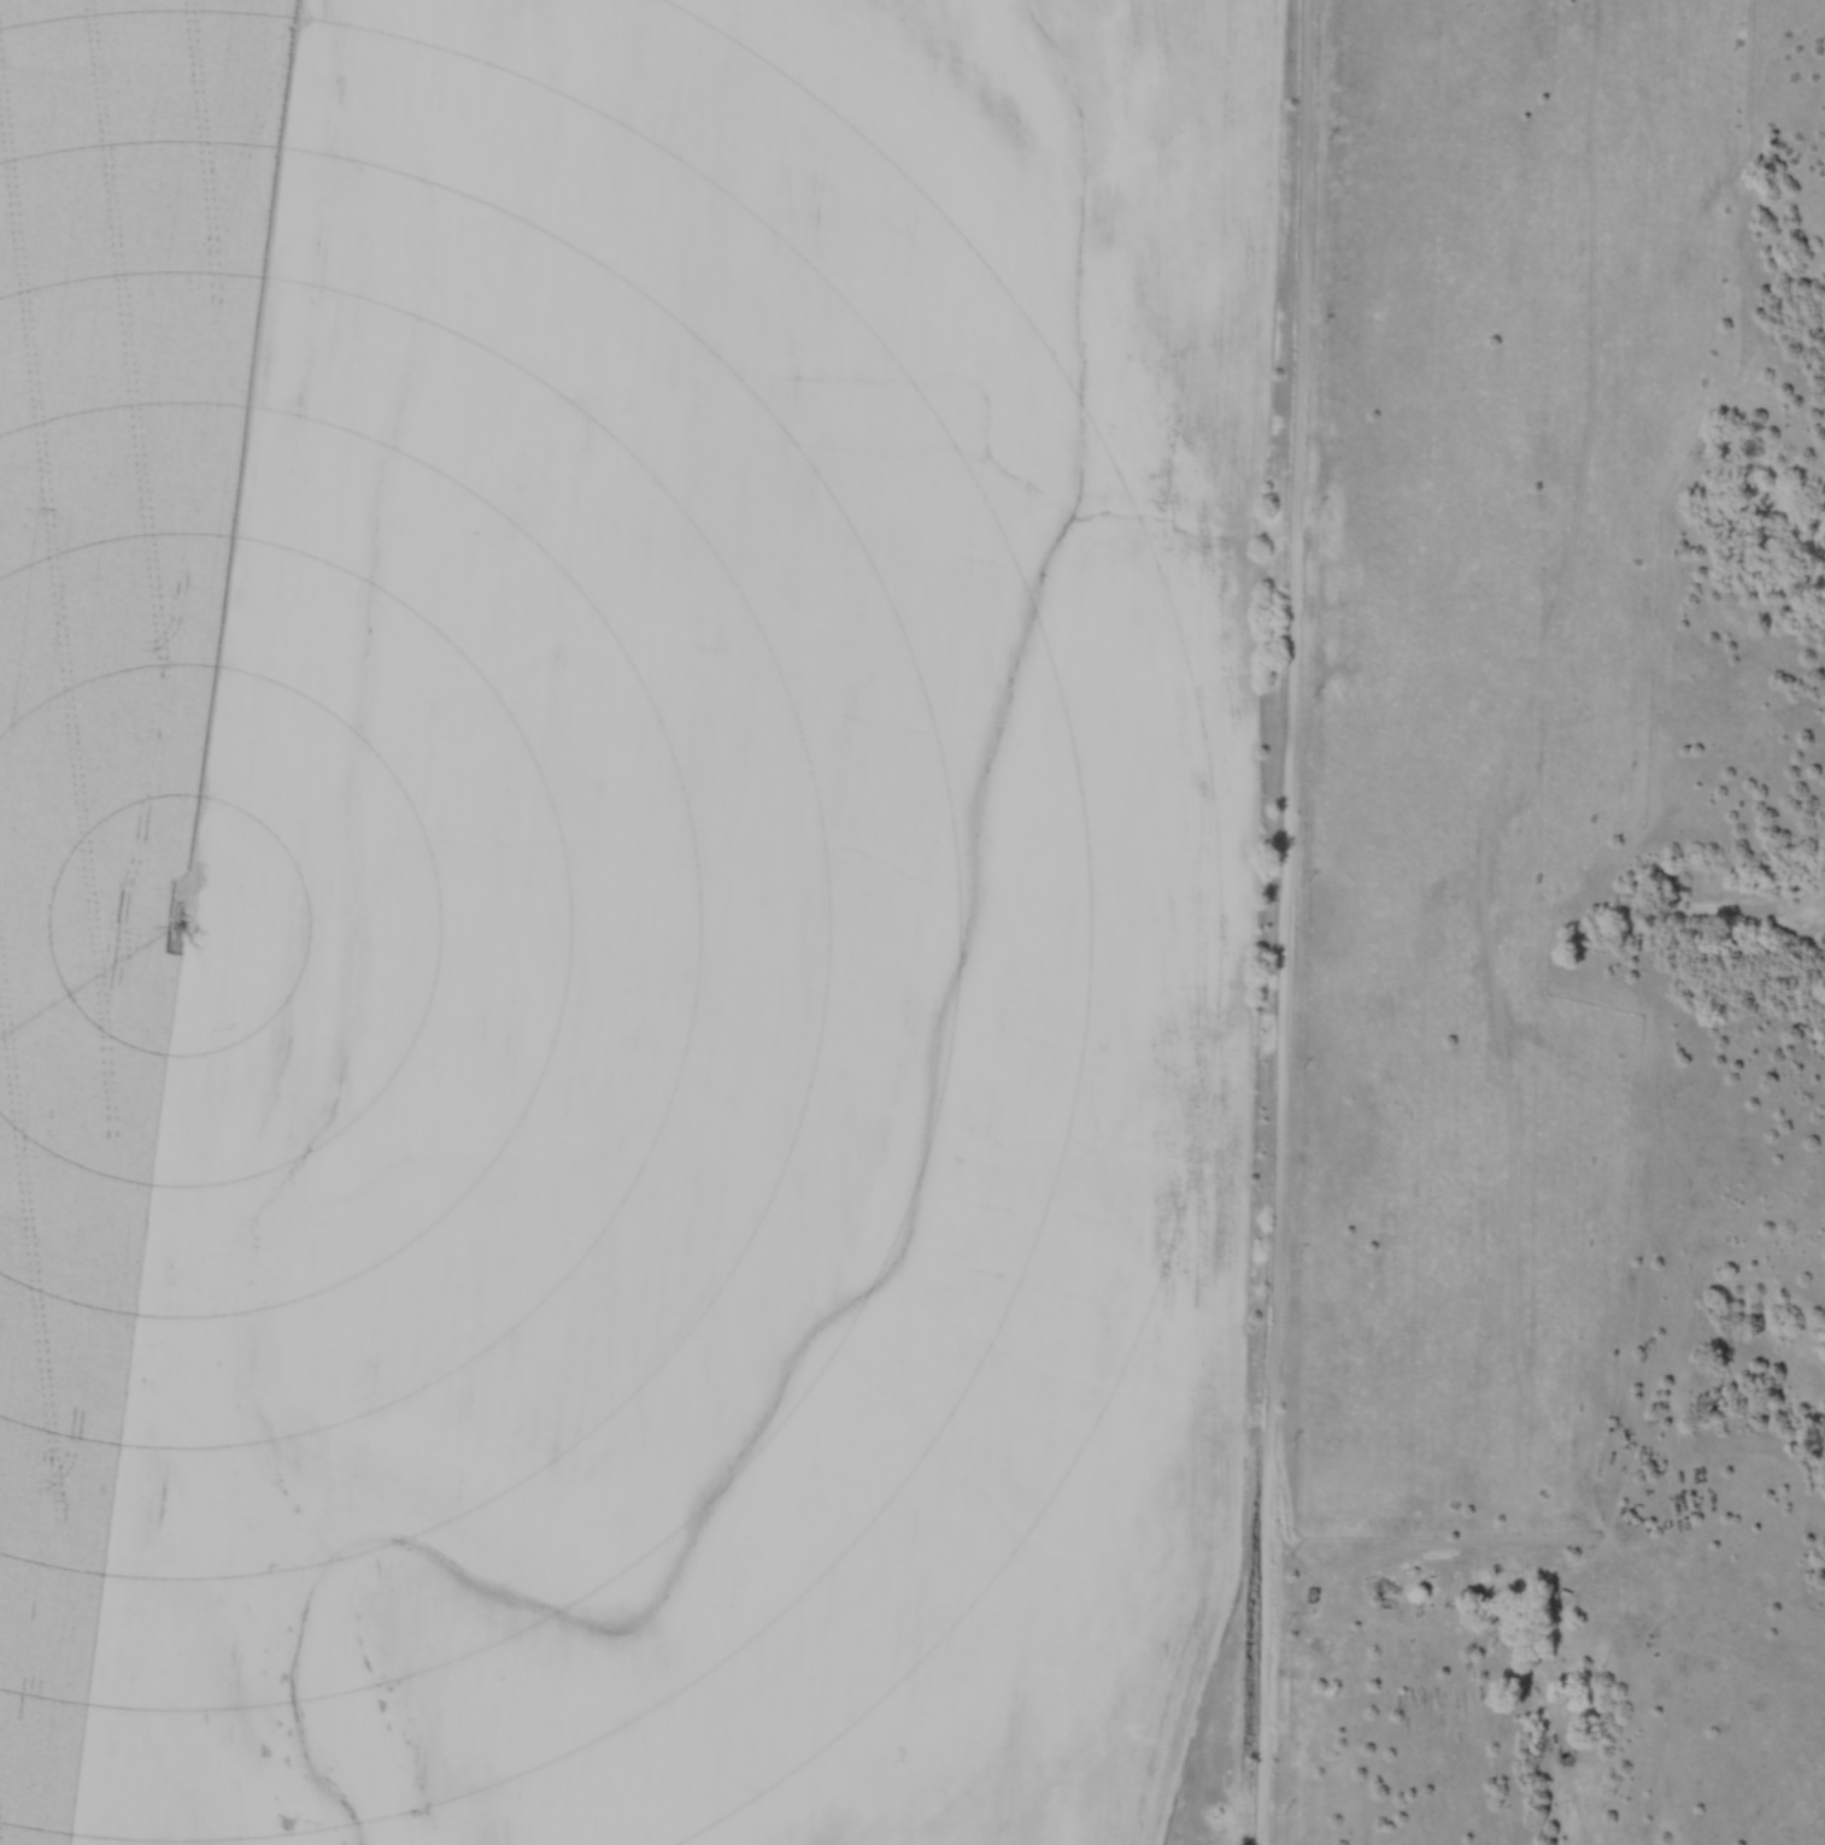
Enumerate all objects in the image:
road: (1285, 922)

